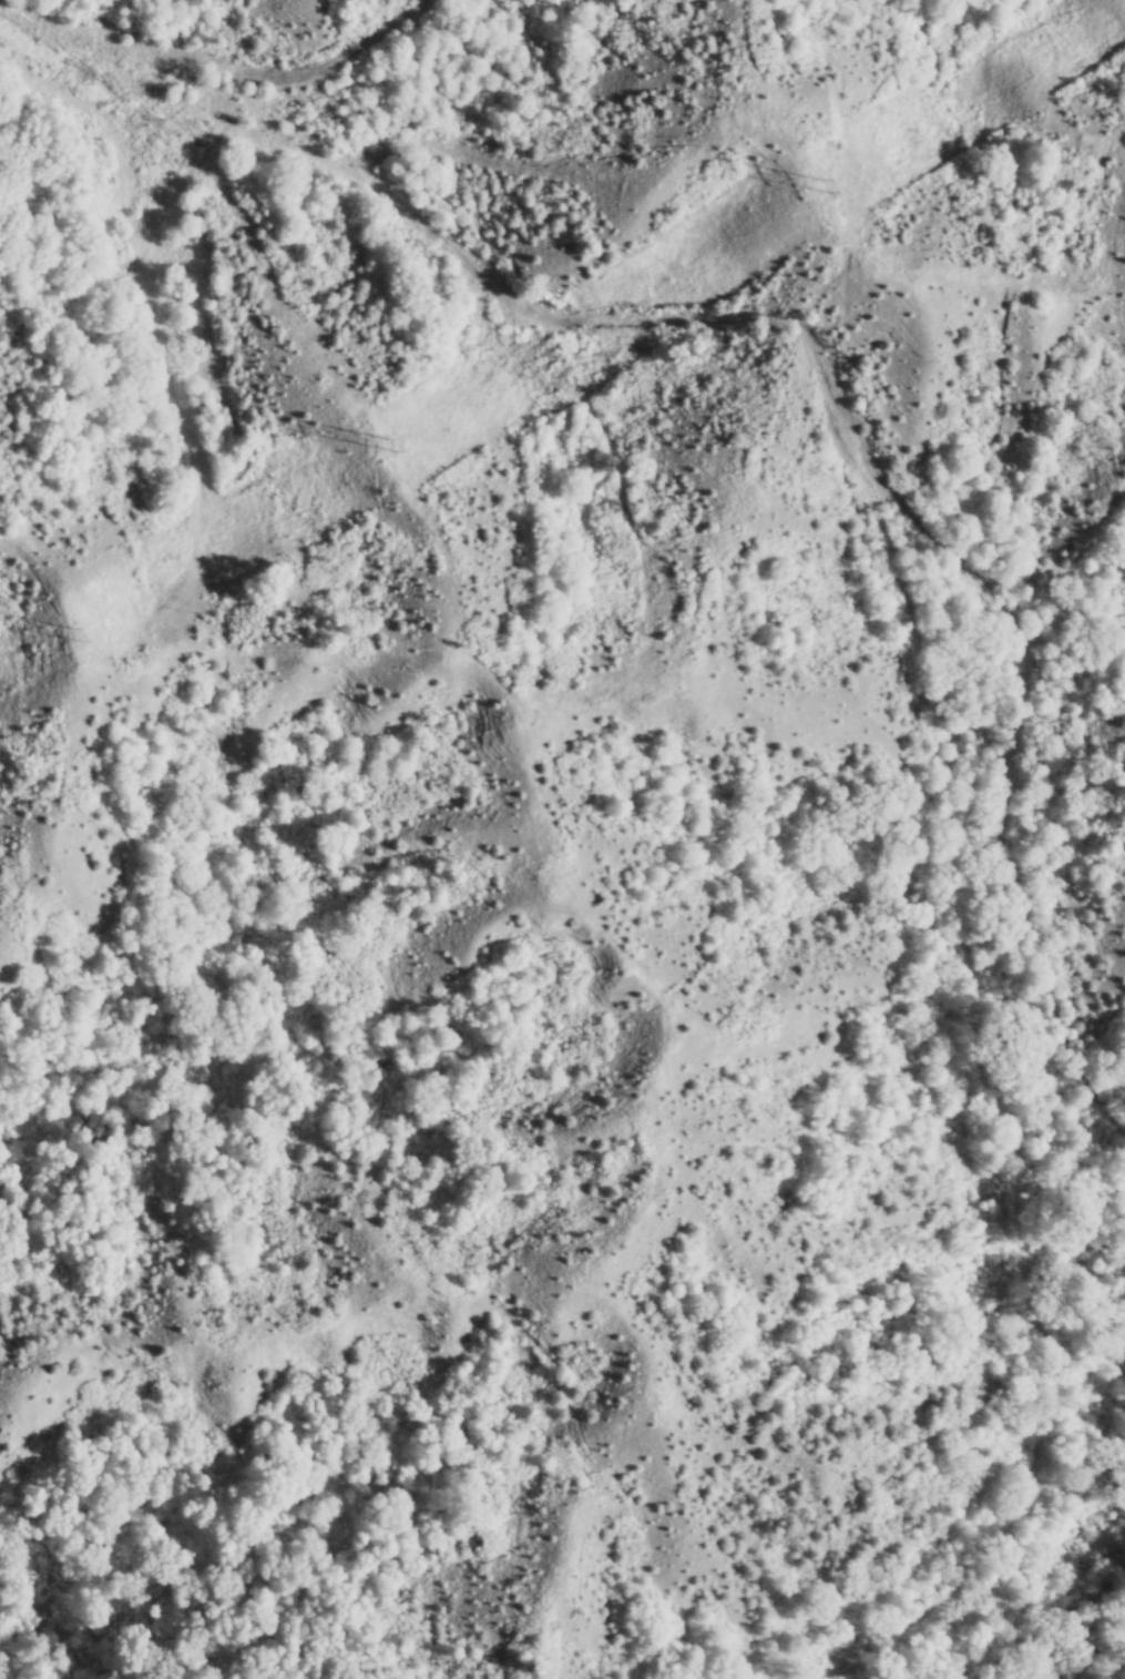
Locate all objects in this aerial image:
power tower: (818, 191)
power tower: (397, 445)
power tower: (84, 635)

